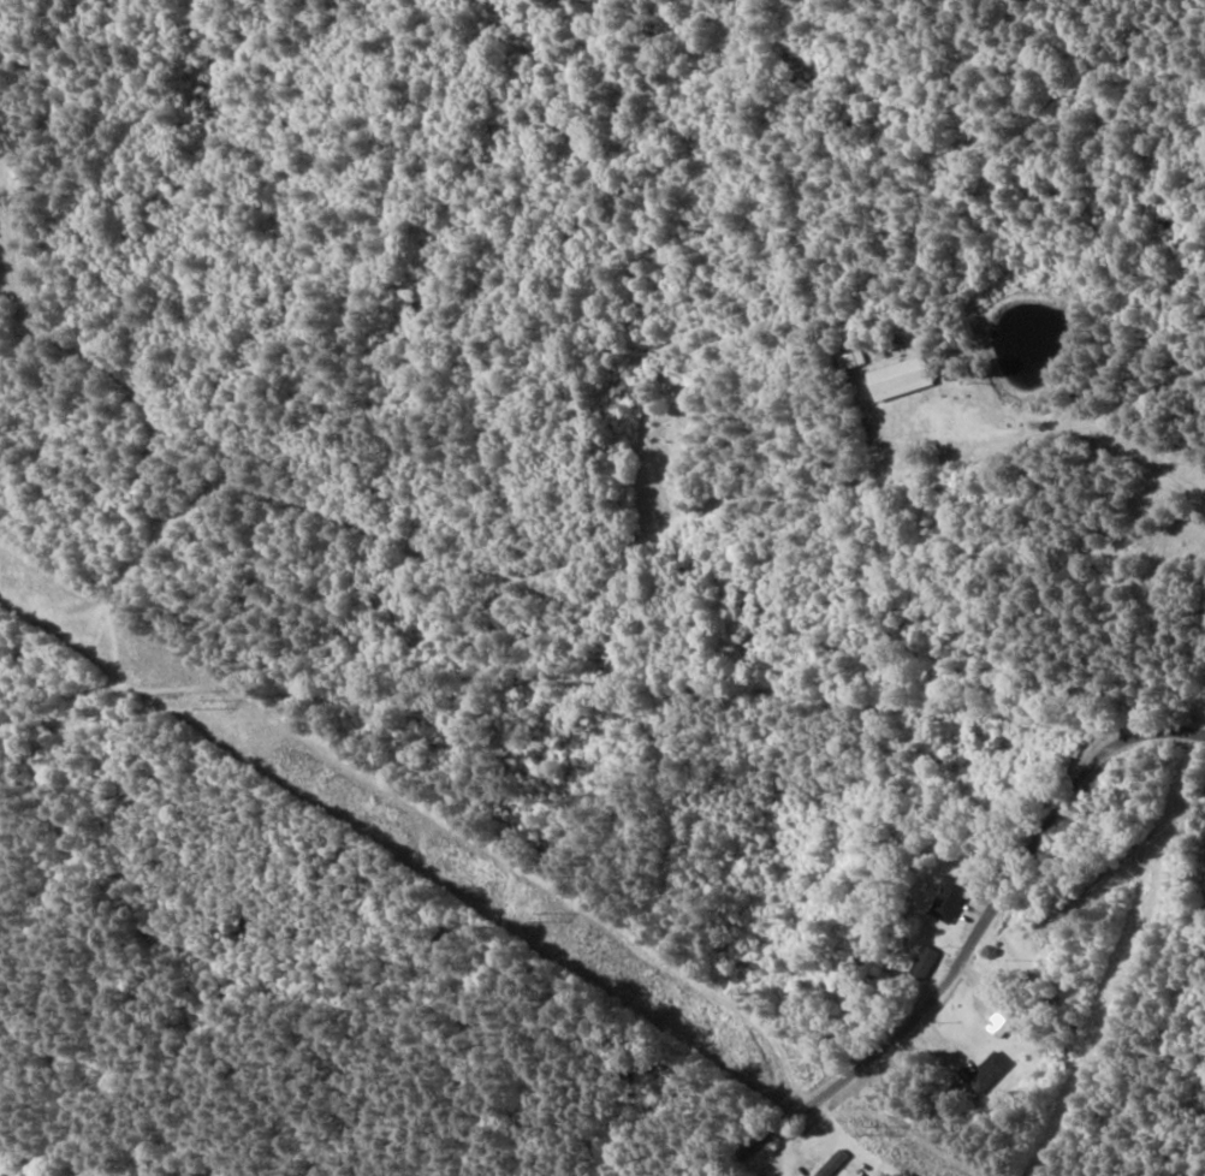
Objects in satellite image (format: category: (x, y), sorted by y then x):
building: (896, 379)
building: (948, 899)
building: (922, 962)
road: (998, 969)
building: (999, 1023)
building: (990, 1069)

